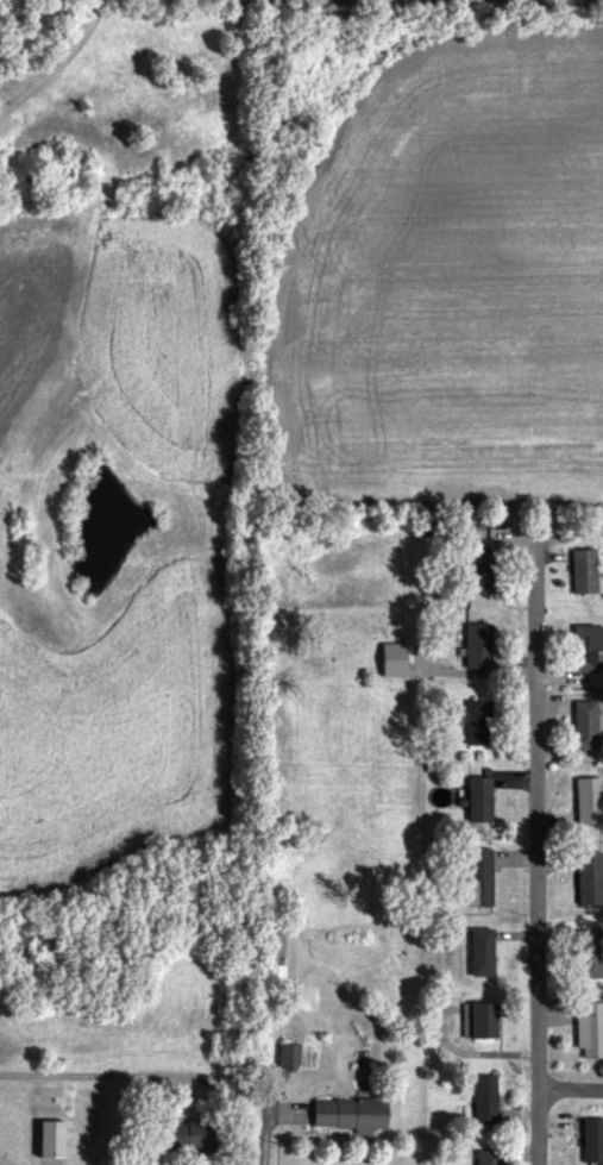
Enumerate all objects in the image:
park: (130, 5)
building: (473, 571)
building: (579, 572)
building: (475, 647)
building: (582, 647)
building: (475, 724)
building: (583, 726)
building: (473, 801)
building: (585, 803)
road: (534, 860)
building: (475, 878)
building: (585, 879)
building: (584, 952)
building: (478, 953)
road: (264, 997)
building: (475, 1021)
building: (589, 1029)
building: (284, 1056)
road: (132, 1077)
road: (567, 1086)
building: (480, 1100)
building: (345, 1114)
building: (178, 1135)
building: (42, 1138)
building: (589, 1140)
building: (482, 1157)

